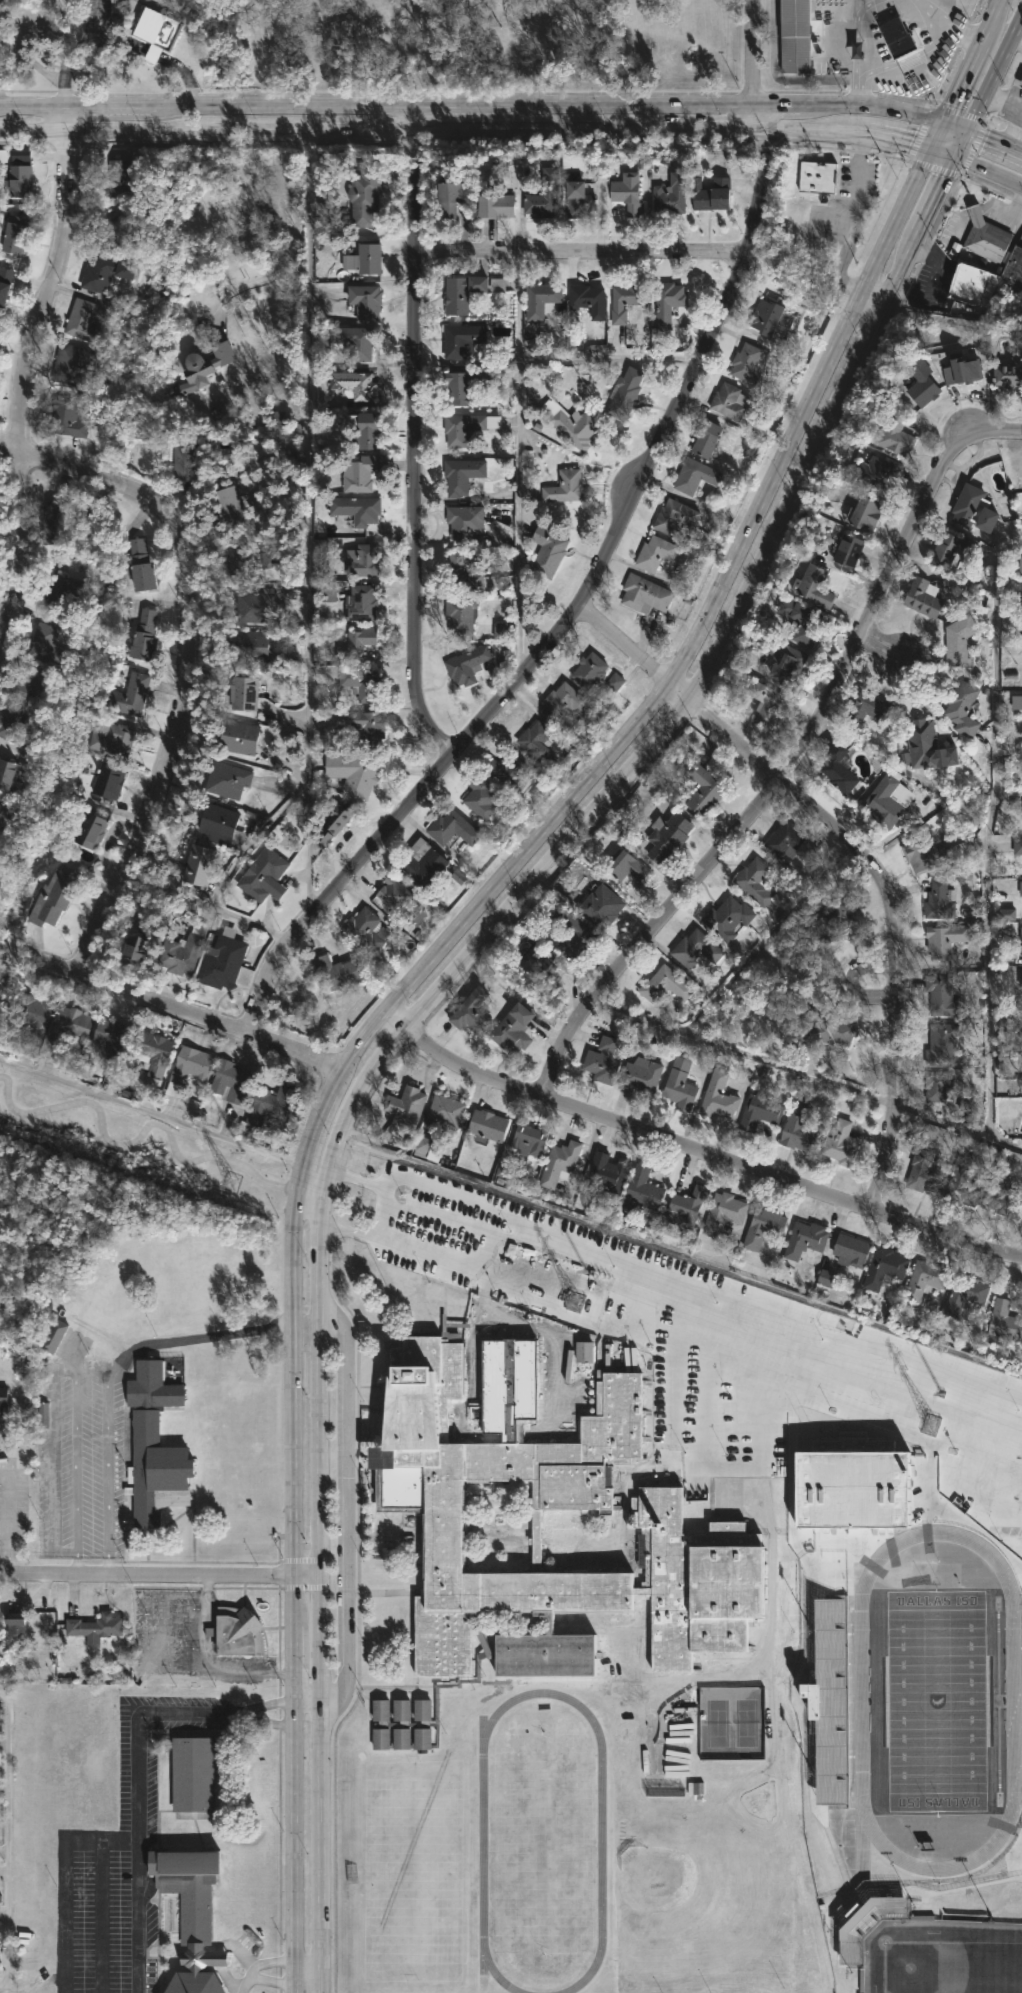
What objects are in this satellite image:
road: (102, 18)
road: (952, 22)
building: (156, 27)
building: (795, 35)
building: (898, 36)
park: (500, 44)
road: (84, 45)
road: (151, 52)
road: (763, 52)
road: (859, 53)
road: (32, 58)
road: (970, 61)
road: (184, 74)
building: (1020, 84)
road: (988, 86)
road: (383, 107)
road: (855, 107)
road: (769, 116)
traffic signals: (943, 122)
road: (385, 132)
traffic signals: (967, 132)
road: (865, 135)
road: (982, 138)
traffic signals: (932, 147)
building: (20, 157)
traffic signals: (955, 157)
road: (988, 171)
building: (119, 175)
building: (817, 177)
building: (19, 180)
building: (627, 192)
building: (671, 193)
building: (713, 195)
building: (364, 196)
building: (543, 196)
building: (452, 198)
building: (579, 202)
building: (495, 206)
road: (975, 213)
road: (1006, 213)
road: (956, 225)
building: (112, 231)
building: (14, 233)
building: (984, 237)
road: (581, 248)
road: (293, 250)
building: (363, 258)
building: (1014, 268)
building: (106, 271)
road: (933, 281)
building: (4, 282)
building: (497, 284)
building: (968, 284)
building: (463, 292)
road: (872, 295)
building: (588, 299)
building: (628, 300)
building: (365, 302)
building: (667, 303)
building: (540, 305)
building: (770, 317)
building: (82, 320)
building: (463, 338)
building: (351, 342)
road: (13, 344)
road: (609, 356)
building: (745, 361)
building: (72, 363)
building: (202, 368)
building: (966, 370)
building: (1008, 375)
road: (21, 378)
building: (464, 384)
building: (923, 384)
building: (354, 385)
building: (624, 393)
building: (729, 401)
building: (66, 418)
building: (272, 419)
building: (574, 425)
building: (467, 427)
building: (368, 432)
road: (413, 436)
building: (896, 436)
building: (706, 439)
building: (184, 463)
road: (518, 464)
building: (878, 470)
building: (360, 474)
building: (695, 475)
building: (462, 476)
building: (565, 487)
building: (230, 508)
building: (356, 509)
building: (974, 509)
building: (866, 514)
building: (674, 515)
building: (464, 520)
building: (52, 522)
building: (849, 550)
building: (549, 551)
building: (952, 551)
building: (655, 552)
building: (361, 558)
building: (1021, 563)
building: (141, 564)
building: (271, 564)
building: (238, 565)
road: (309, 571)
building: (464, 573)
building: (814, 584)
building: (63, 587)
building: (329, 591)
building: (645, 593)
building: (924, 596)
building: (252, 602)
building: (360, 602)
road: (721, 602)
building: (460, 611)
road: (570, 613)
building: (803, 619)
road: (737, 627)
building: (501, 630)
building: (143, 634)
building: (959, 639)
building: (250, 642)
building: (355, 643)
road: (876, 643)
building: (49, 644)
road: (170, 659)
building: (467, 664)
building: (788, 664)
building: (589, 669)
building: (614, 681)
building: (359, 682)
building: (34, 685)
building: (242, 690)
building: (130, 694)
building: (1017, 701)
building: (567, 702)
building: (766, 702)
building: (962, 707)
building: (866, 709)
building: (19, 721)
building: (360, 722)
building: (237, 736)
building: (113, 740)
building: (538, 742)
building: (923, 742)
building: (1019, 750)
road: (797, 758)
building: (840, 766)
building: (354, 771)
building: (509, 771)
building: (9, 776)
building: (226, 778)
building: (108, 780)
building: (703, 788)
building: (480, 797)
building: (888, 797)
building: (333, 820)
road: (985, 823)
building: (219, 824)
building: (91, 826)
building: (452, 827)
building: (10, 831)
building: (668, 835)
building: (790, 841)
building: (1018, 845)
road: (860, 849)
building: (928, 854)
building: (421, 862)
building: (198, 864)
building: (627, 867)
building: (264, 875)
building: (756, 880)
building: (0, 885)
building: (1021, 887)
building: (394, 893)
building: (52, 896)
building: (939, 899)
building: (600, 906)
building: (415, 914)
building: (1007, 914)
building: (728, 917)
building: (844, 917)
building: (367, 931)
building: (571, 931)
building: (1021, 933)
building: (945, 938)
building: (135, 941)
building: (696, 948)
building: (183, 950)
building: (222, 960)
building: (547, 966)
building: (337, 970)
building: (1020, 977)
building: (665, 984)
road: (878, 989)
building: (943, 996)
road: (172, 1005)
building: (473, 1012)
road: (396, 1016)
building: (35, 1017)
building: (1005, 1024)
building: (70, 1026)
building: (514, 1028)
building: (826, 1030)
building: (113, 1038)
road: (363, 1038)
building: (942, 1044)
building: (153, 1052)
road: (385, 1052)
building: (603, 1059)
building: (188, 1068)
road: (806, 1073)
building: (641, 1074)
building: (231, 1082)
building: (680, 1084)
building: (1021, 1085)
building: (939, 1086)
building: (719, 1096)
building: (270, 1103)
building: (407, 1103)
building: (966, 1105)
building: (447, 1109)
building: (760, 1111)
road: (152, 1112)
road: (316, 1124)
building: (488, 1124)
building: (798, 1127)
road: (338, 1134)
building: (527, 1138)
building: (841, 1143)
building: (423, 1146)
road: (708, 1151)
building: (560, 1162)
building: (504, 1169)
building: (924, 1169)
building: (609, 1172)
power tower: (230, 1183)
building: (962, 1183)
road: (311, 1187)
building: (644, 1187)
building: (1003, 1195)
building: (688, 1202)
road: (380, 1210)
building: (724, 1213)
building: (763, 1226)
building: (805, 1239)
building: (852, 1250)
road: (295, 1253)
road: (625, 1255)
road: (319, 1257)
building: (885, 1266)
building: (827, 1278)
building: (925, 1281)
road: (596, 1285)
building: (966, 1294)
power tower: (576, 1301)
building: (1005, 1320)
road: (308, 1323)
building: (54, 1335)
road: (200, 1338)
parking lot: (715, 1344)
road: (785, 1350)
road: (689, 1359)
road: (95, 1367)
building: (3, 1399)
building: (43, 1415)
power tower: (929, 1428)
building: (155, 1445)
road: (297, 1448)
road: (321, 1448)
road: (701, 1465)
building: (854, 1480)
road: (345, 1509)
road: (12, 1517)
building: (455, 1528)
road: (148, 1573)
road: (310, 1573)
building: (14, 1622)
building: (95, 1626)
building: (238, 1630)
building: (830, 1699)
park: (936, 1699)
road: (309, 1703)
road: (255, 1713)
building: (192, 1772)
road: (297, 1783)
road: (321, 1783)
road: (139, 1816)
park: (543, 1842)
road: (8, 1843)
park: (413, 1870)
building: (190, 1915)
building: (867, 1924)
park: (942, 1956)
road: (308, 1968)
road: (264, 1972)
road: (8, 1992)

